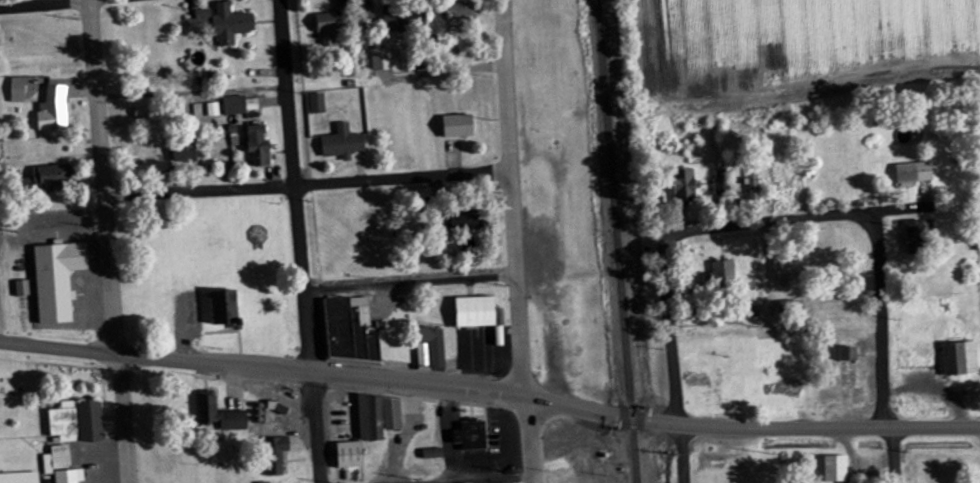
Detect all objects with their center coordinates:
road: (34, 2)
building: (461, 12)
building: (367, 13)
building: (204, 15)
building: (398, 19)
building: (232, 25)
building: (328, 30)
building: (382, 60)
road: (506, 83)
building: (19, 90)
building: (317, 104)
building: (242, 105)
building: (55, 109)
building: (144, 113)
building: (460, 127)
building: (343, 144)
building: (261, 146)
building: (184, 152)
building: (911, 173)
road: (103, 175)
building: (53, 178)
road: (308, 182)
building: (718, 183)
road: (297, 184)
building: (751, 184)
building: (681, 185)
road: (837, 217)
building: (469, 223)
building: (909, 232)
railway: (617, 241)
building: (783, 264)
building: (722, 274)
road: (520, 279)
road: (412, 280)
building: (59, 281)
building: (23, 289)
road: (666, 289)
building: (479, 313)
road: (882, 316)
building: (352, 331)
building: (432, 351)
building: (842, 354)
building: (957, 359)
road: (442, 382)
building: (221, 416)
road: (122, 417)
building: (379, 418)
building: (78, 423)
road: (931, 425)
road: (317, 426)
building: (472, 436)
road: (529, 438)
road: (682, 452)
building: (434, 454)
road: (896, 454)
building: (277, 456)
building: (352, 456)
building: (56, 460)
building: (833, 469)
building: (70, 477)
building: (20, 478)
road: (479, 478)

